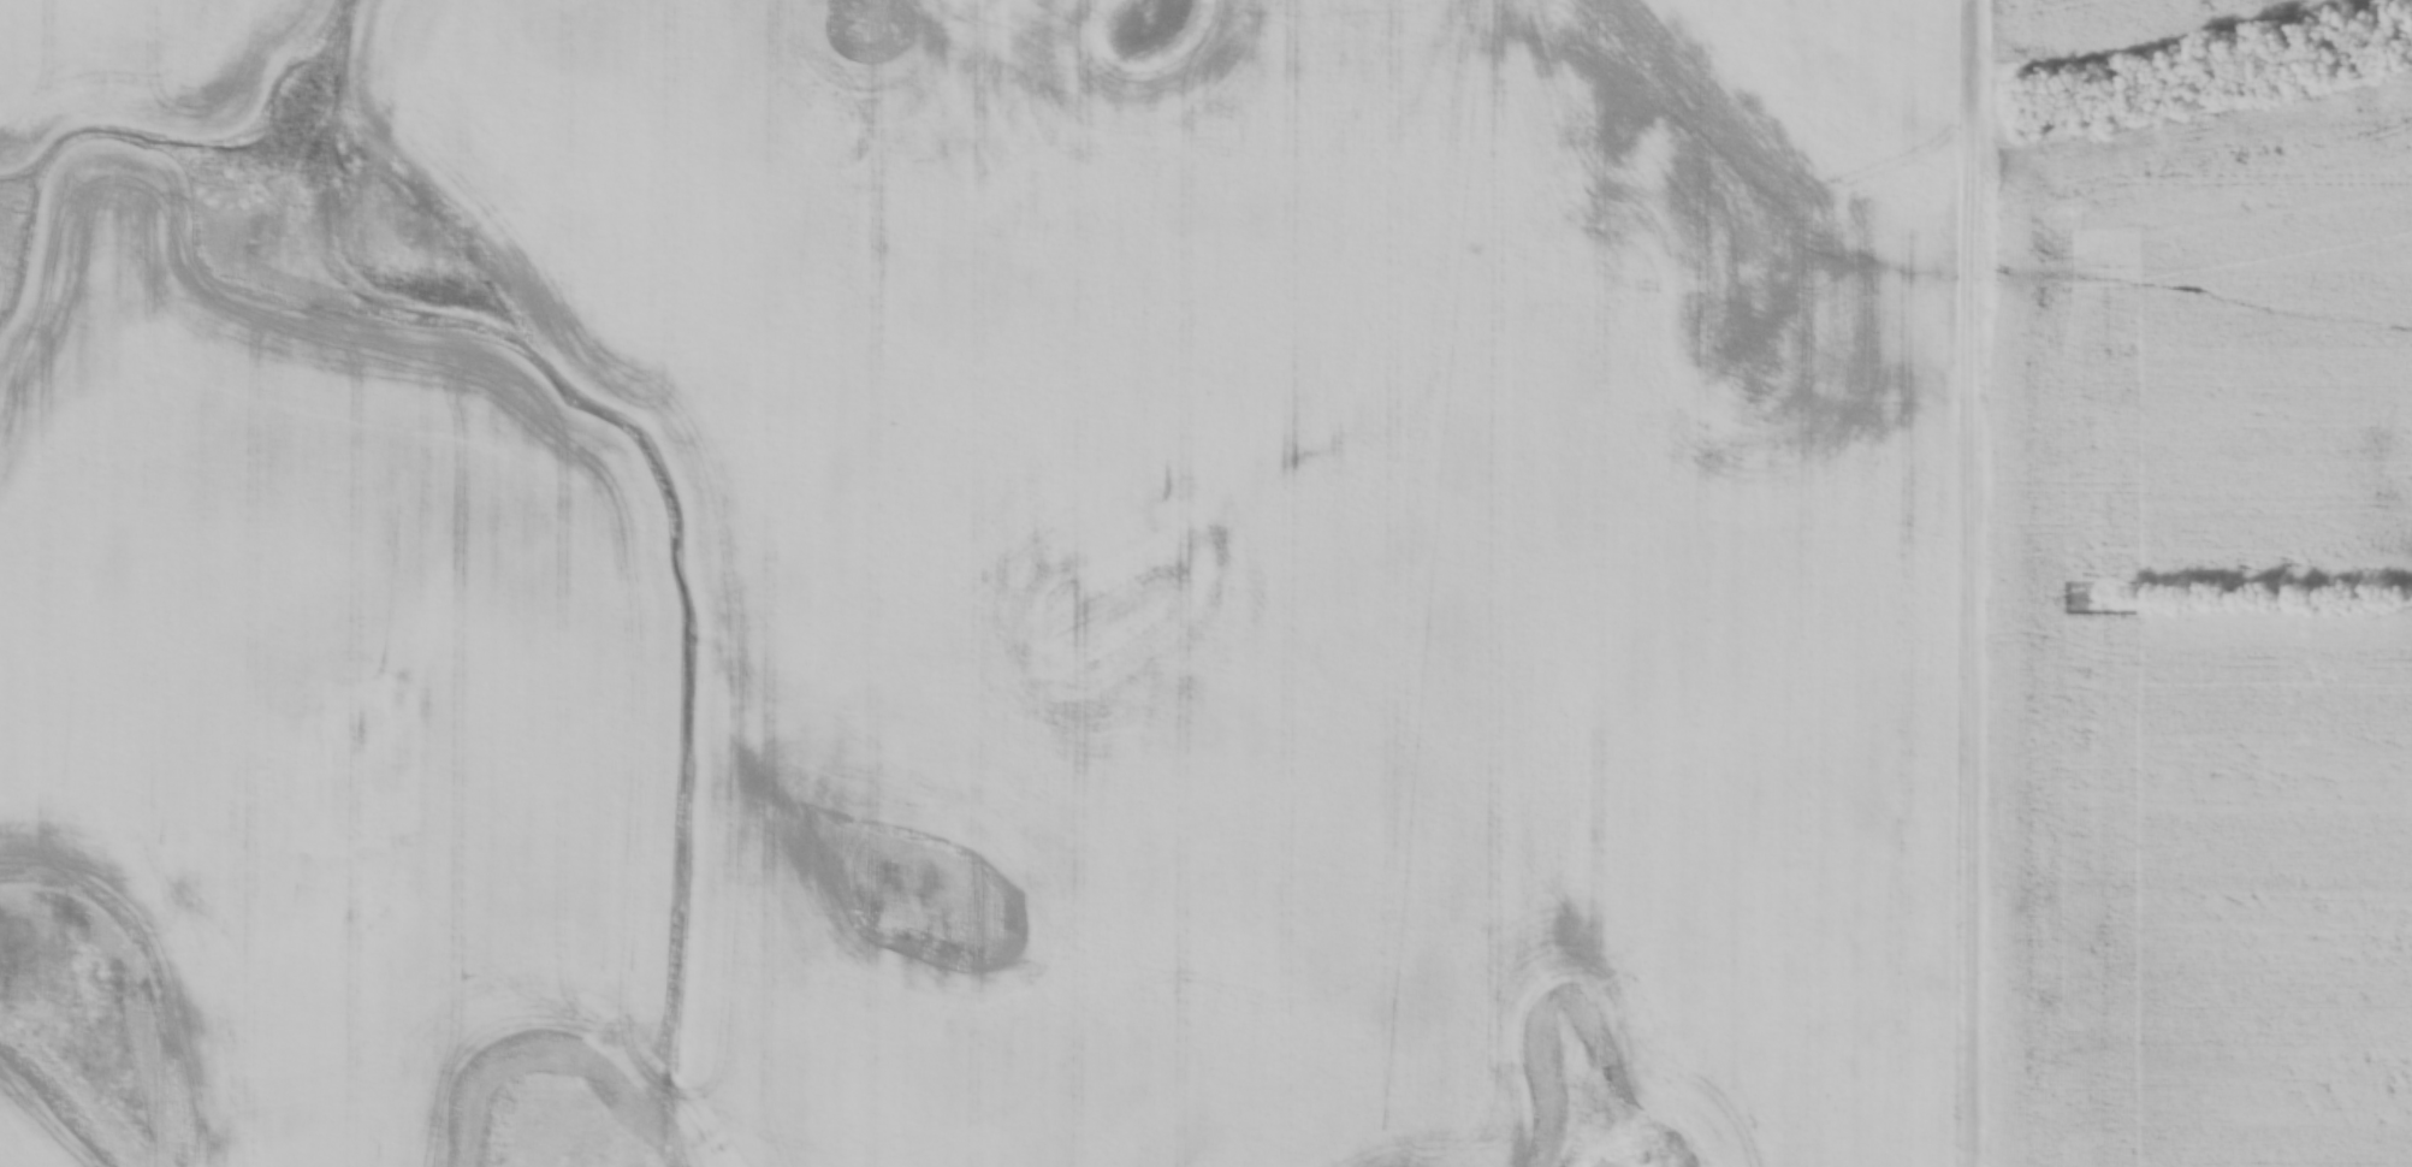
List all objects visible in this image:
road: (1971, 583)

